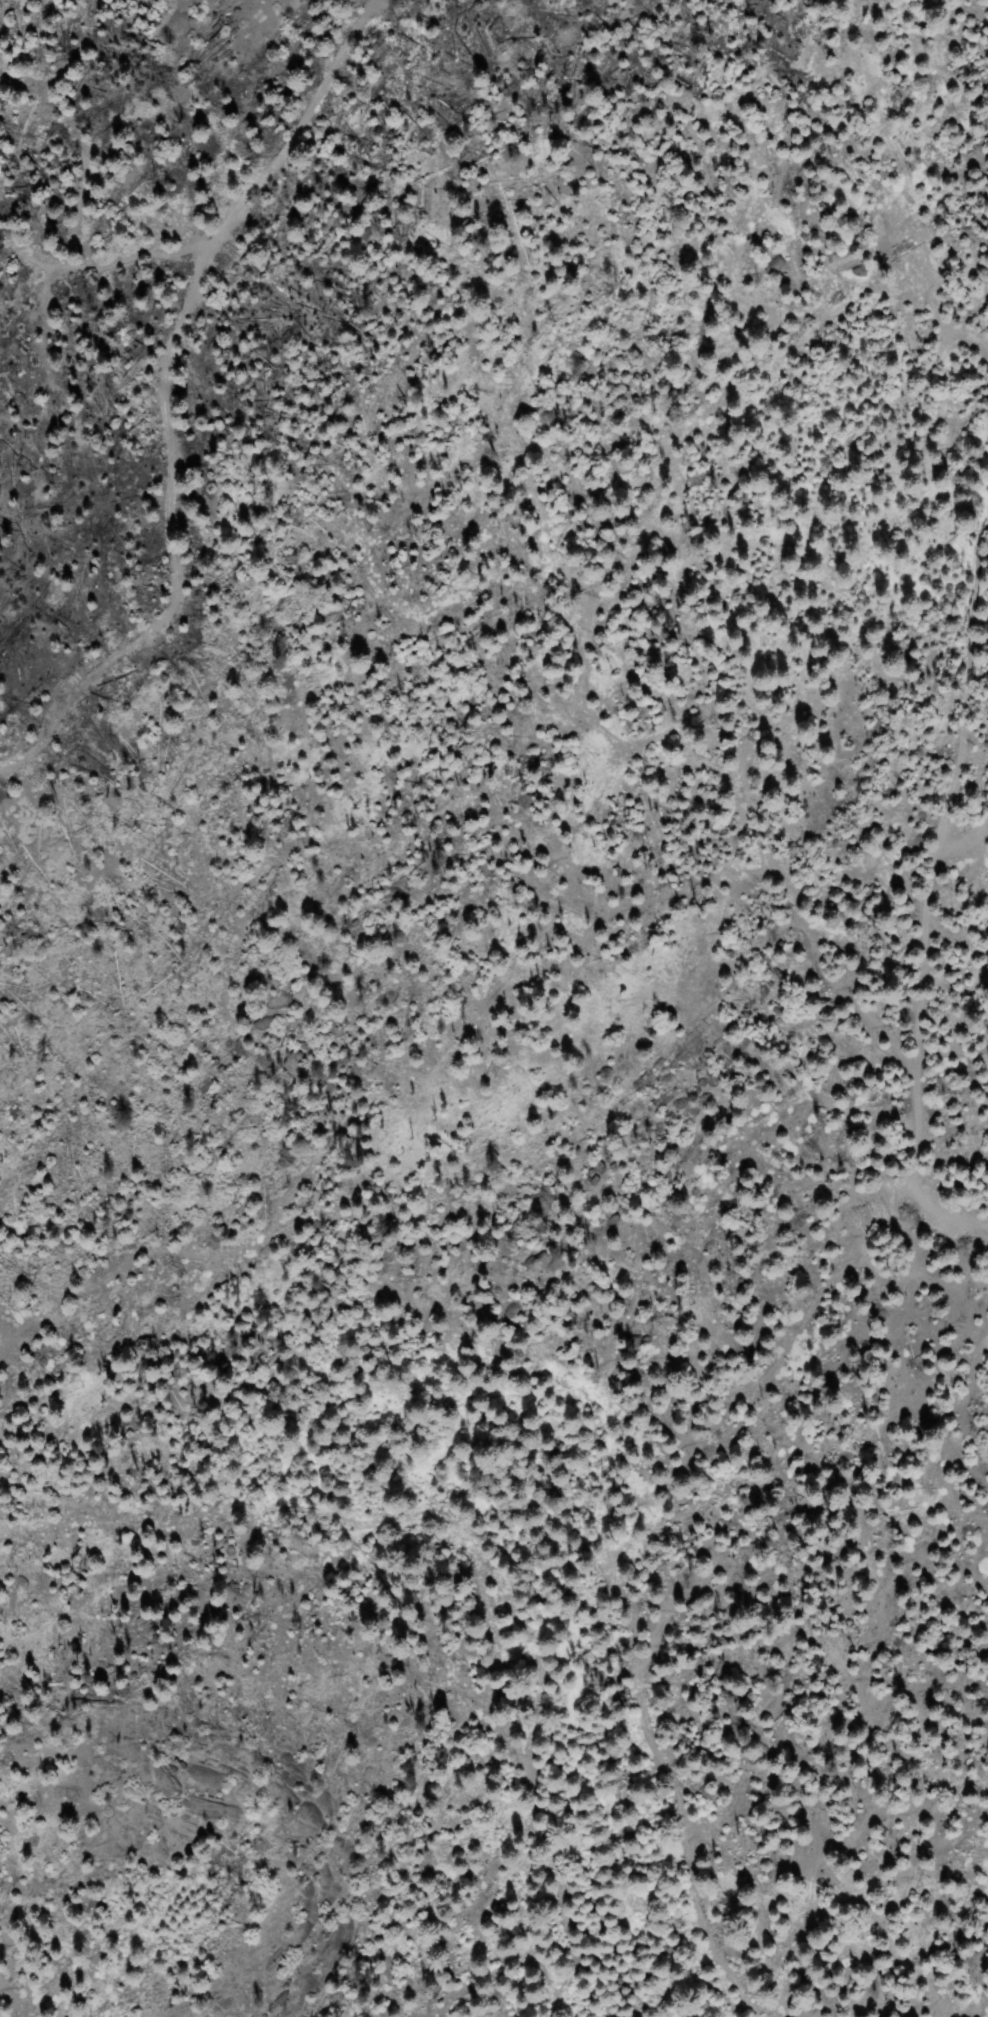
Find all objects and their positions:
road: (158, 395)
road: (967, 828)
road: (934, 932)

